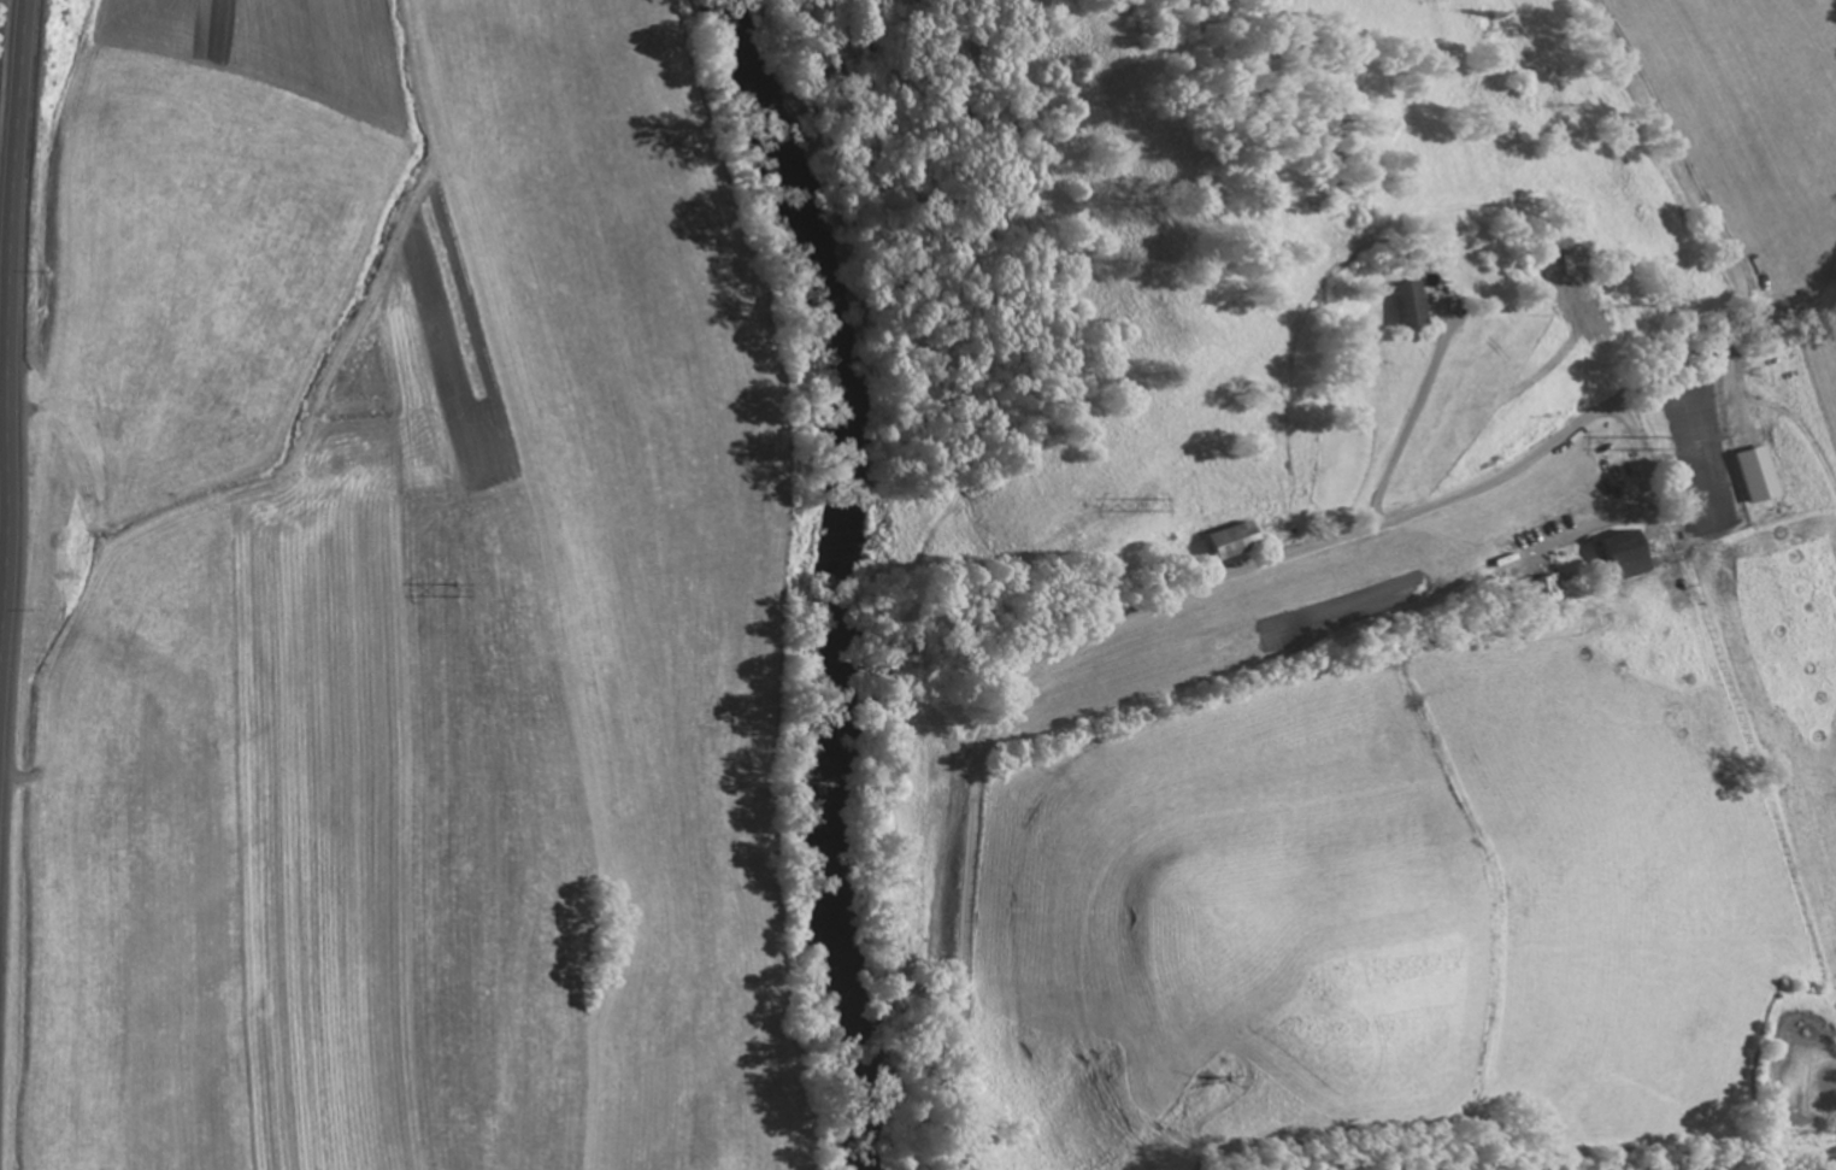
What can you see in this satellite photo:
road: (10, 284)
building: (1407, 307)
road: (4, 324)
building: (1760, 478)
building: (1238, 543)
building: (1631, 559)
river: (826, 577)
road: (1088, 629)

